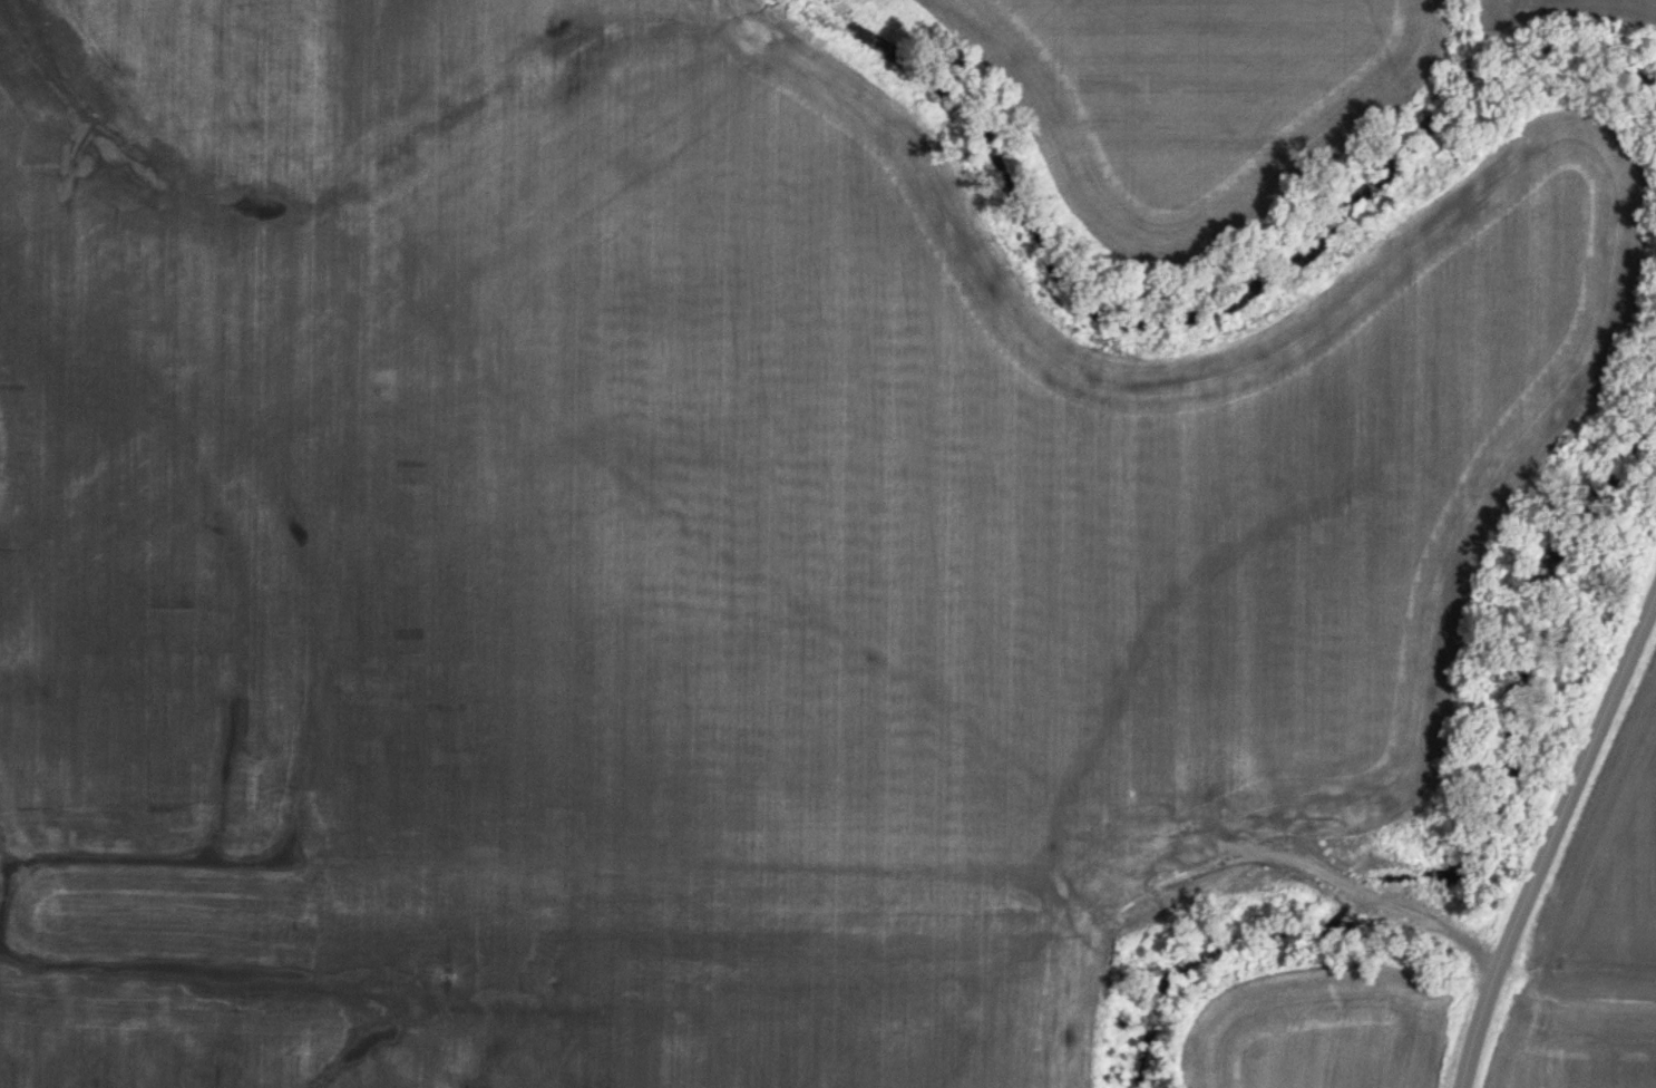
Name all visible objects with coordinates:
road: (1574, 798)
road: (1477, 1039)

